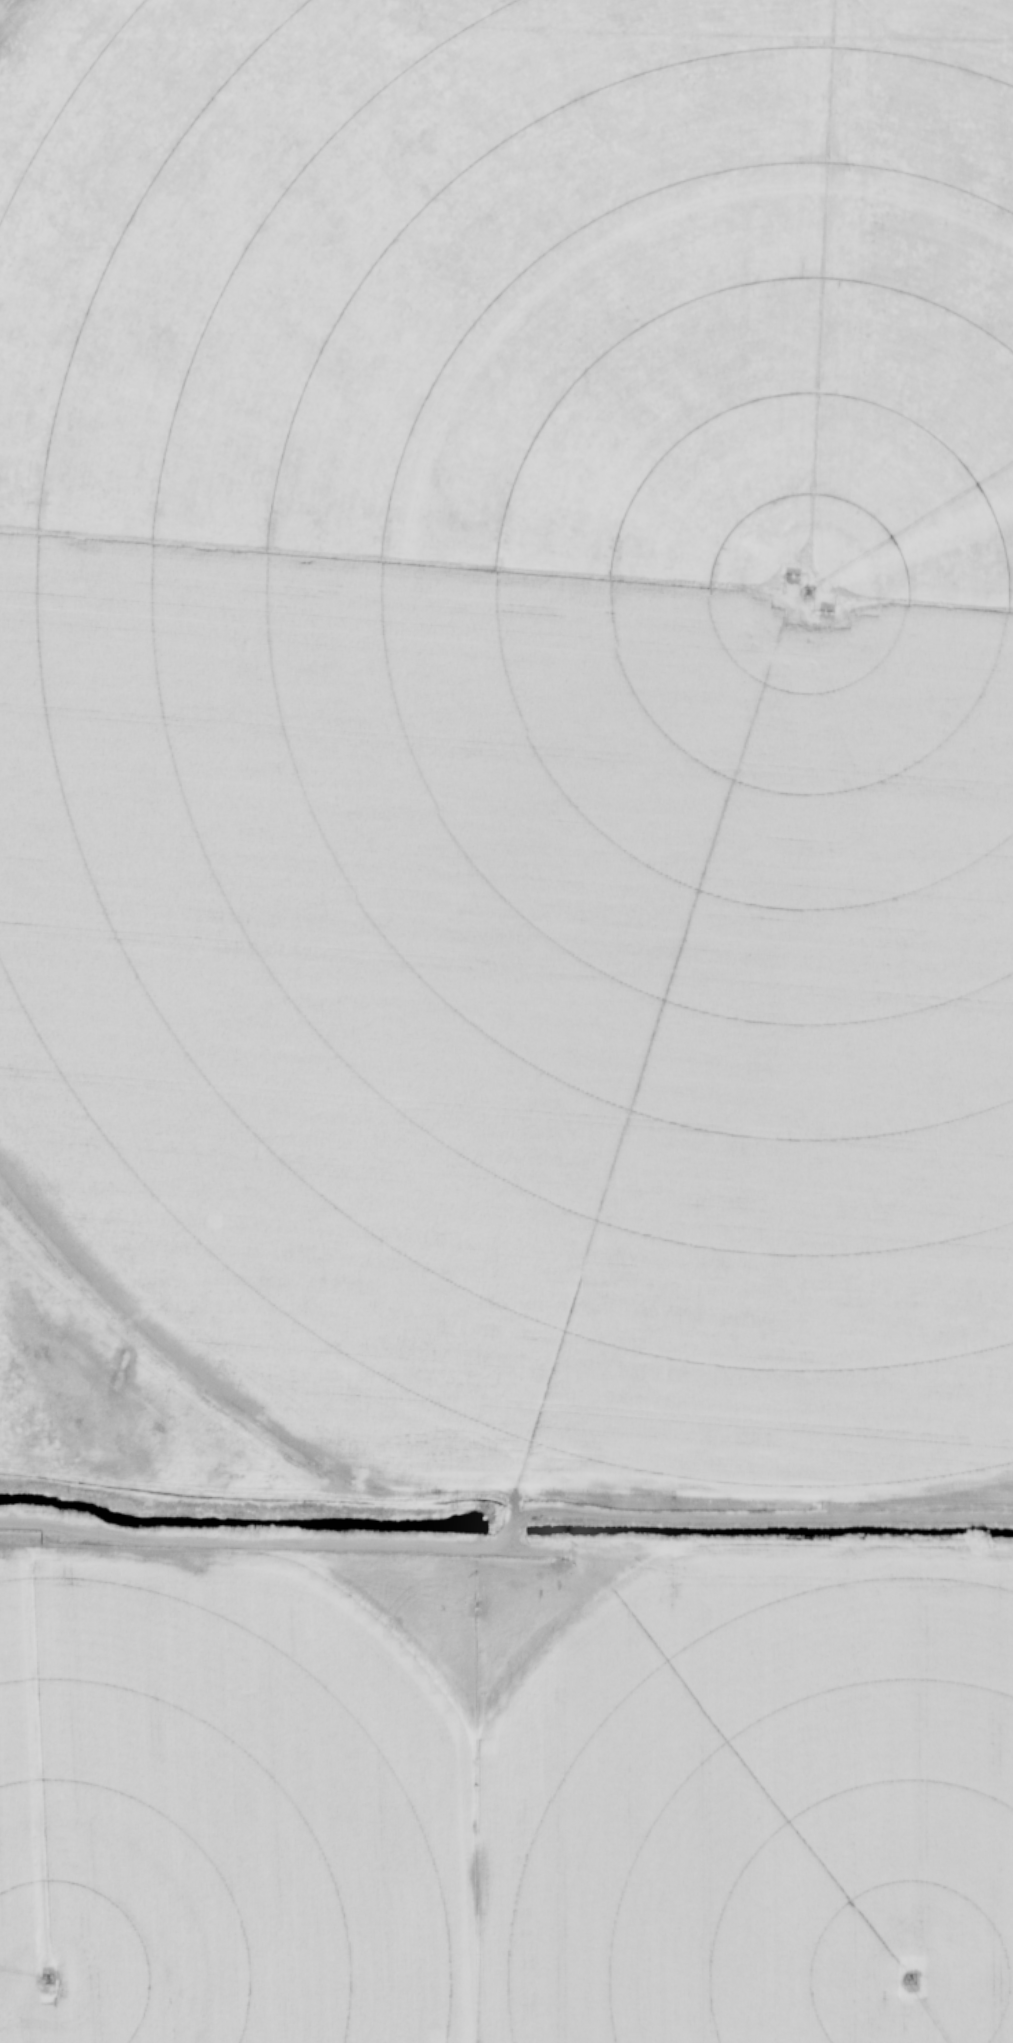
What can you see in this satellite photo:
crop: (523, 720)
road: (508, 1534)

